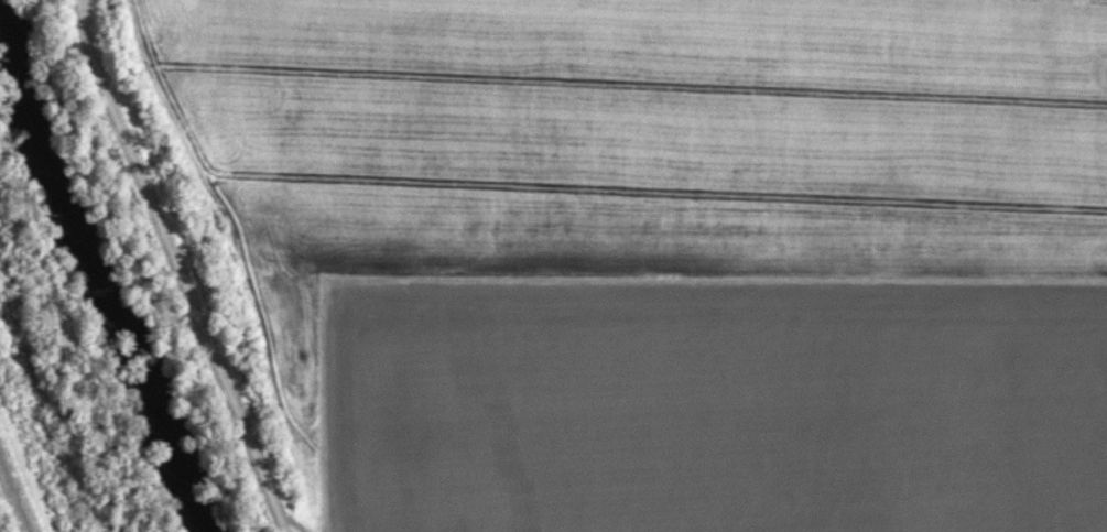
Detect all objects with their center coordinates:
road: (184, 267)
river: (100, 269)
road: (596, 282)
road: (15, 492)

